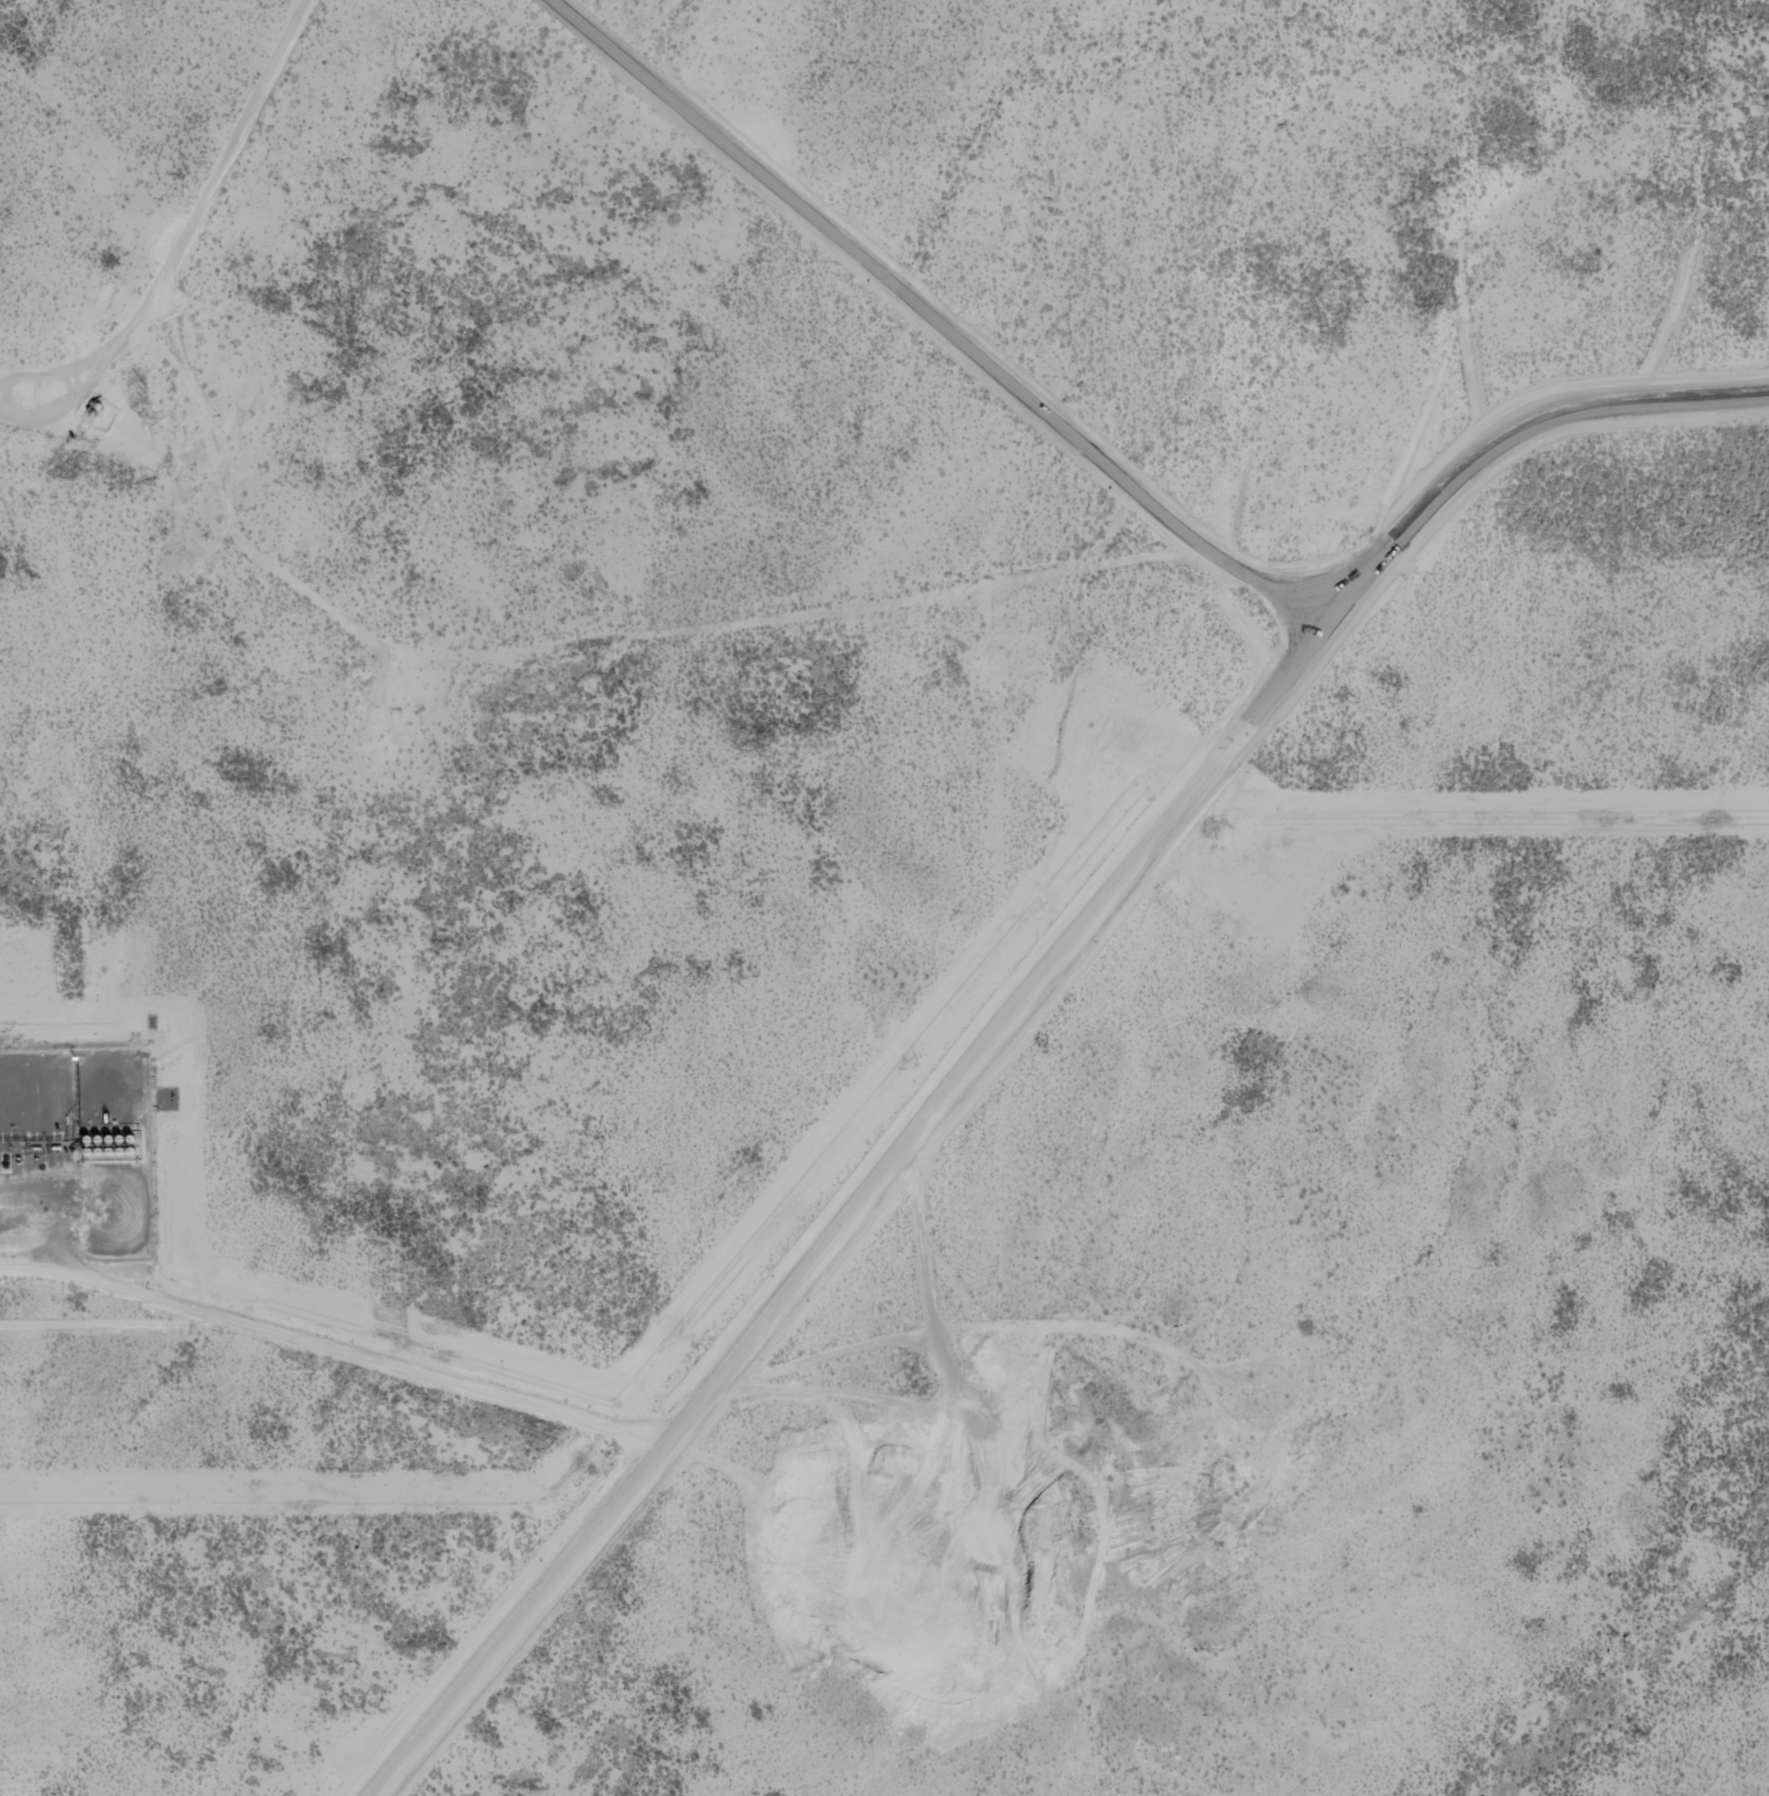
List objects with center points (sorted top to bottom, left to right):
road: (206, 237)
road: (877, 325)
road: (1507, 464)
road: (854, 1214)

